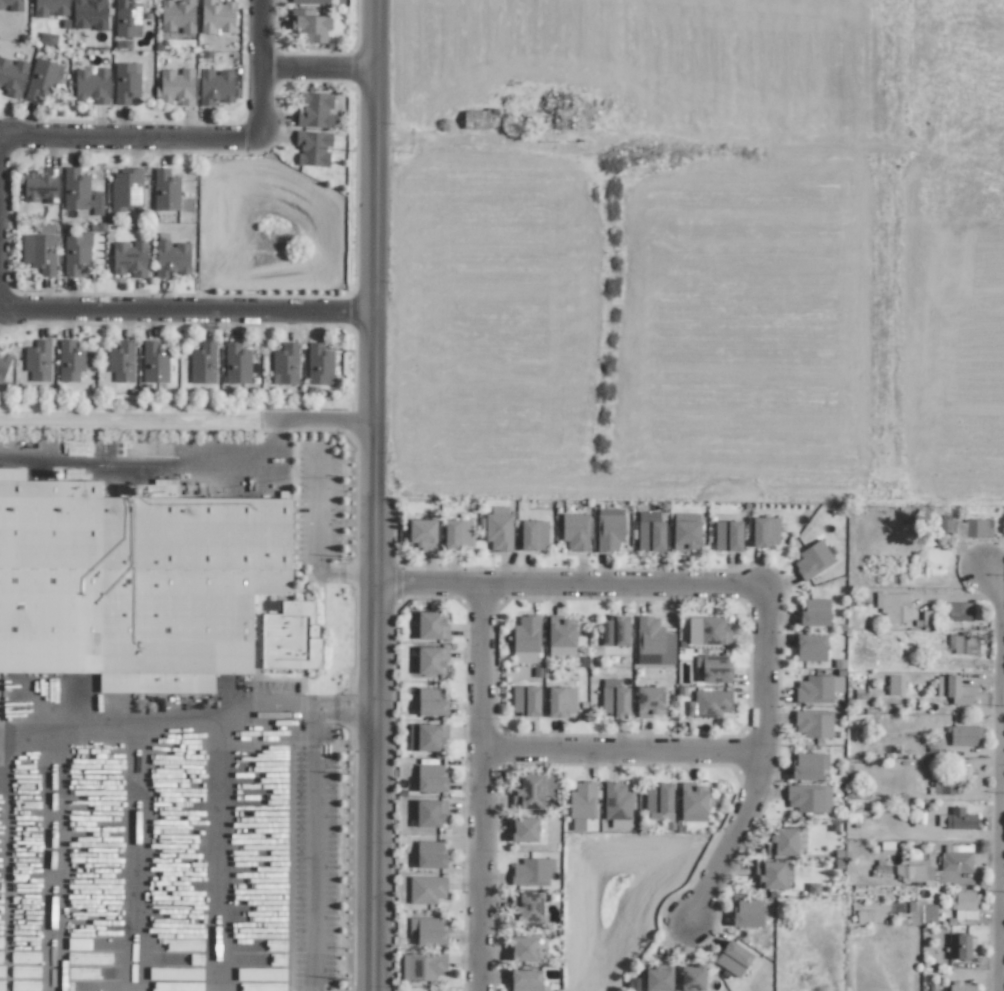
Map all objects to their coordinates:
building: (11, 5)
building: (50, 8)
building: (89, 14)
building: (177, 15)
building: (216, 16)
building: (126, 19)
building: (309, 25)
building: (47, 39)
road: (261, 63)
road: (318, 70)
building: (12, 76)
building: (42, 79)
building: (126, 82)
building: (91, 85)
building: (215, 86)
building: (176, 87)
building: (315, 110)
building: (478, 119)
road: (128, 135)
building: (312, 148)
building: (40, 185)
building: (126, 188)
building: (164, 190)
building: (80, 192)
building: (39, 253)
building: (76, 253)
building: (129, 258)
building: (170, 259)
road: (183, 308)
building: (37, 360)
building: (69, 360)
building: (121, 362)
building: (154, 362)
building: (202, 363)
building: (236, 363)
building: (284, 364)
building: (3, 365)
building: (319, 365)
road: (315, 419)
road: (147, 466)
road: (368, 495)
road: (317, 502)
building: (949, 527)
building: (978, 528)
building: (498, 529)
building: (609, 529)
building: (574, 531)
building: (650, 531)
building: (764, 531)
building: (422, 533)
building: (457, 533)
building: (532, 535)
building: (727, 535)
building: (685, 536)
building: (811, 560)
road: (354, 572)
building: (134, 581)
road: (565, 586)
building: (892, 607)
building: (958, 611)
building: (814, 613)
building: (927, 617)
building: (430, 626)
building: (614, 631)
building: (707, 631)
building: (291, 637)
building: (560, 638)
building: (525, 640)
building: (653, 641)
building: (962, 644)
building: (810, 647)
building: (430, 660)
road: (766, 668)
building: (894, 685)
building: (817, 689)
building: (954, 690)
building: (525, 700)
building: (560, 701)
building: (614, 701)
building: (648, 701)
building: (431, 702)
building: (709, 705)
road: (192, 713)
road: (349, 713)
building: (813, 723)
building: (426, 736)
building: (964, 736)
road: (623, 750)
building: (808, 766)
road: (999, 767)
building: (430, 778)
building: (943, 787)
road: (482, 788)
building: (532, 790)
building: (658, 798)
building: (808, 798)
building: (582, 801)
building: (692, 802)
building: (616, 805)
building: (429, 813)
building: (956, 819)
building: (523, 829)
road: (736, 838)
building: (781, 842)
road: (312, 852)
building: (429, 854)
road: (52, 858)
building: (956, 858)
building: (530, 872)
building: (911, 873)
building: (772, 875)
building: (426, 889)
building: (963, 905)
building: (526, 906)
building: (747, 913)
building: (921, 913)
building: (864, 917)
building: (426, 930)
building: (960, 946)
building: (522, 949)
building: (732, 958)
building: (657, 977)
building: (691, 978)
building: (524, 980)
building: (959, 986)

